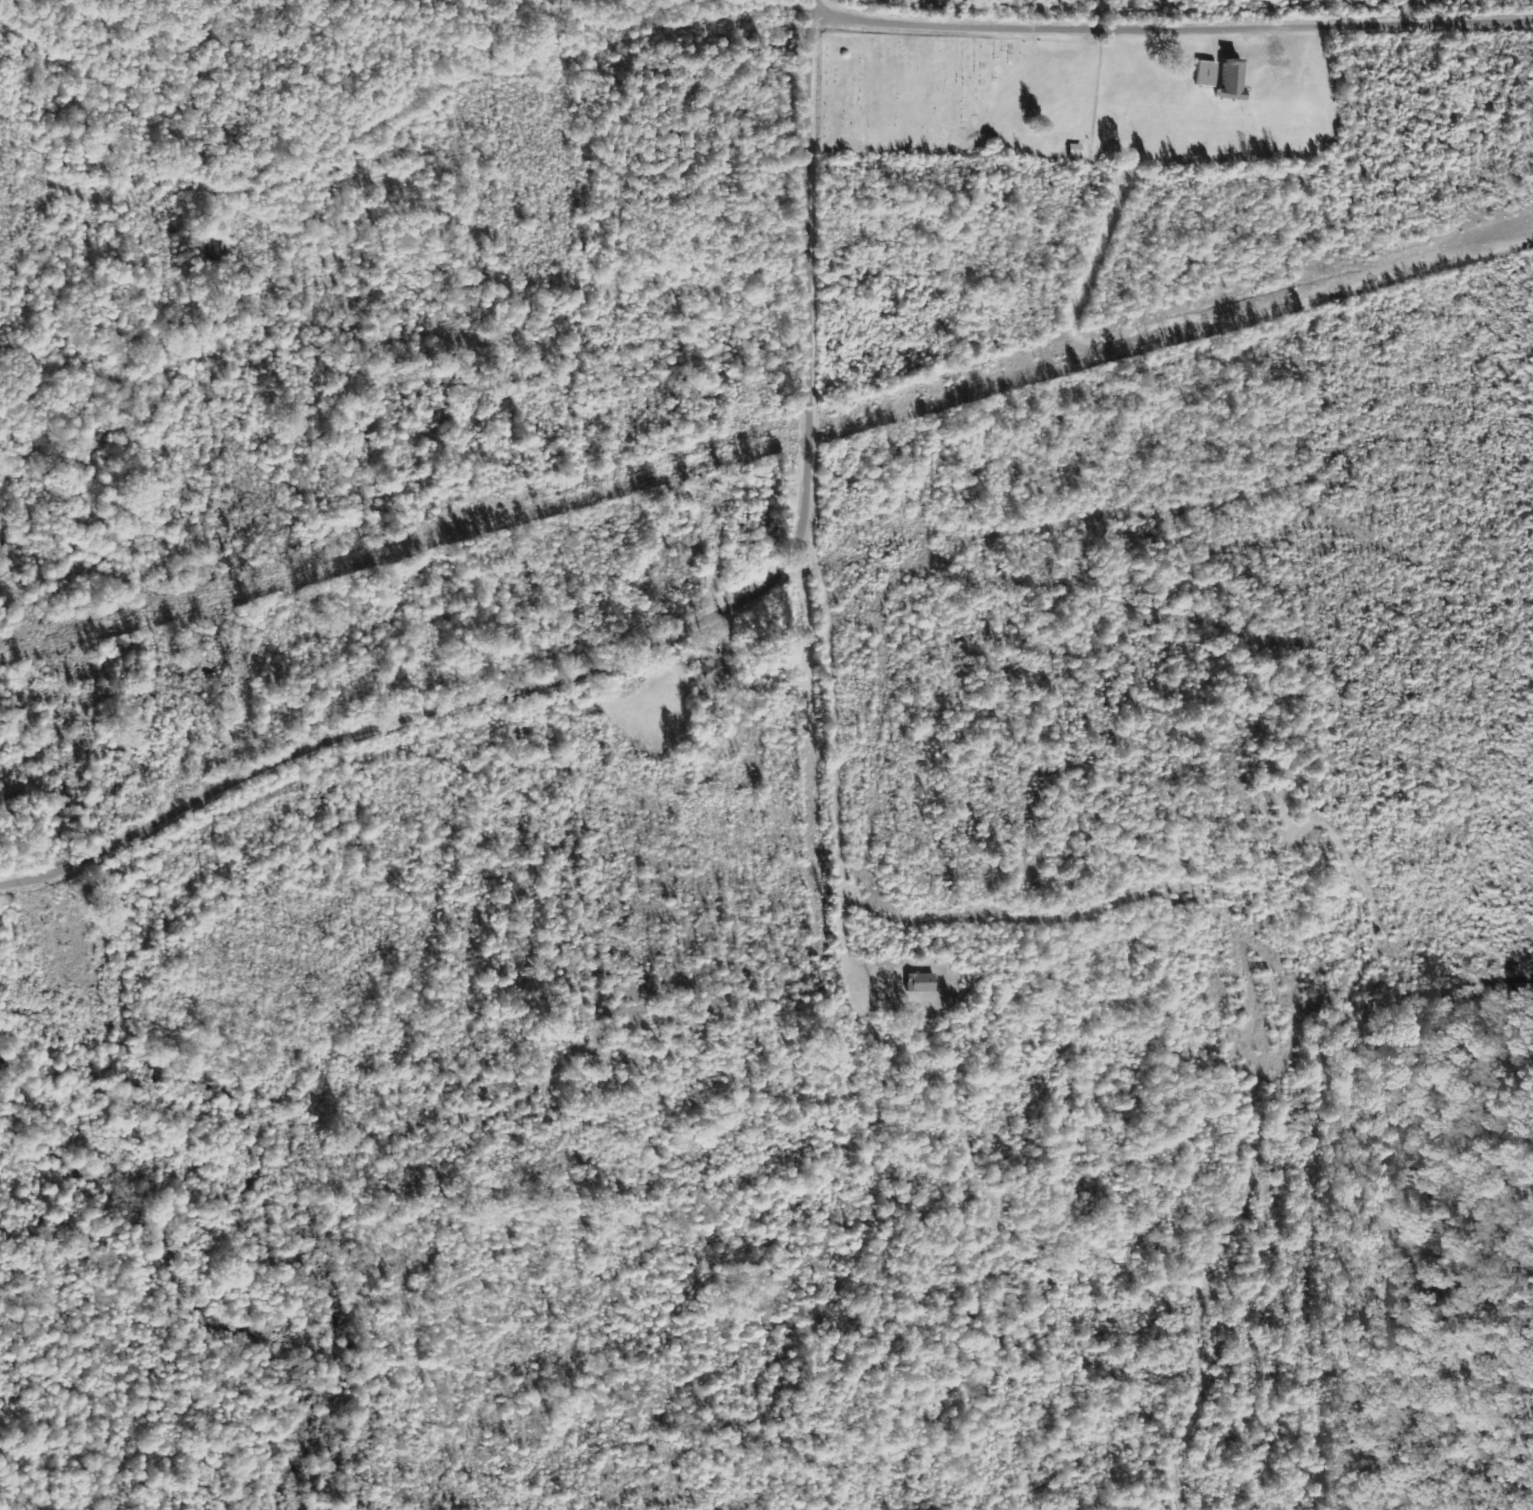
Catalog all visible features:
road: (1171, 25)
building: (1205, 73)
building: (1230, 78)
park: (959, 96)
building: (1075, 149)
road: (668, 640)
building: (715, 672)
building: (919, 981)

